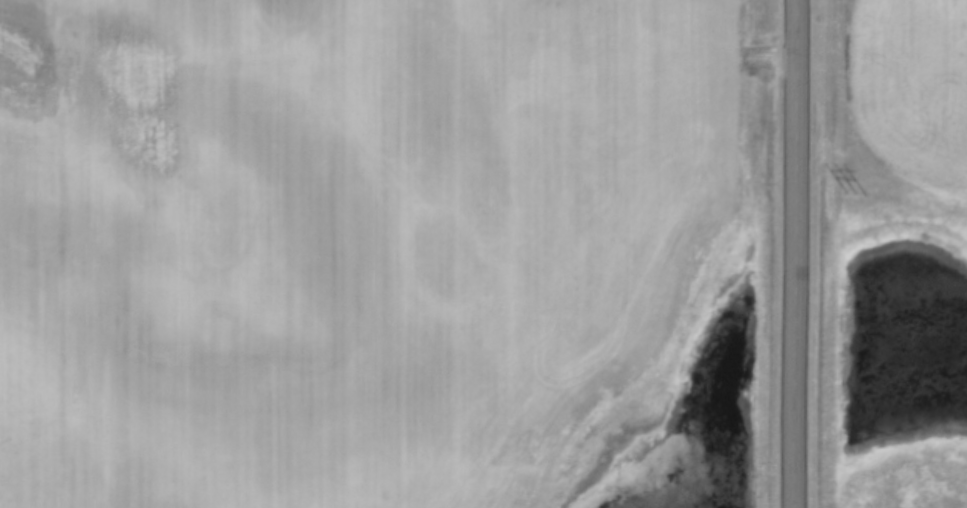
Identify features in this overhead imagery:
road: (67, 254)
road: (793, 254)

